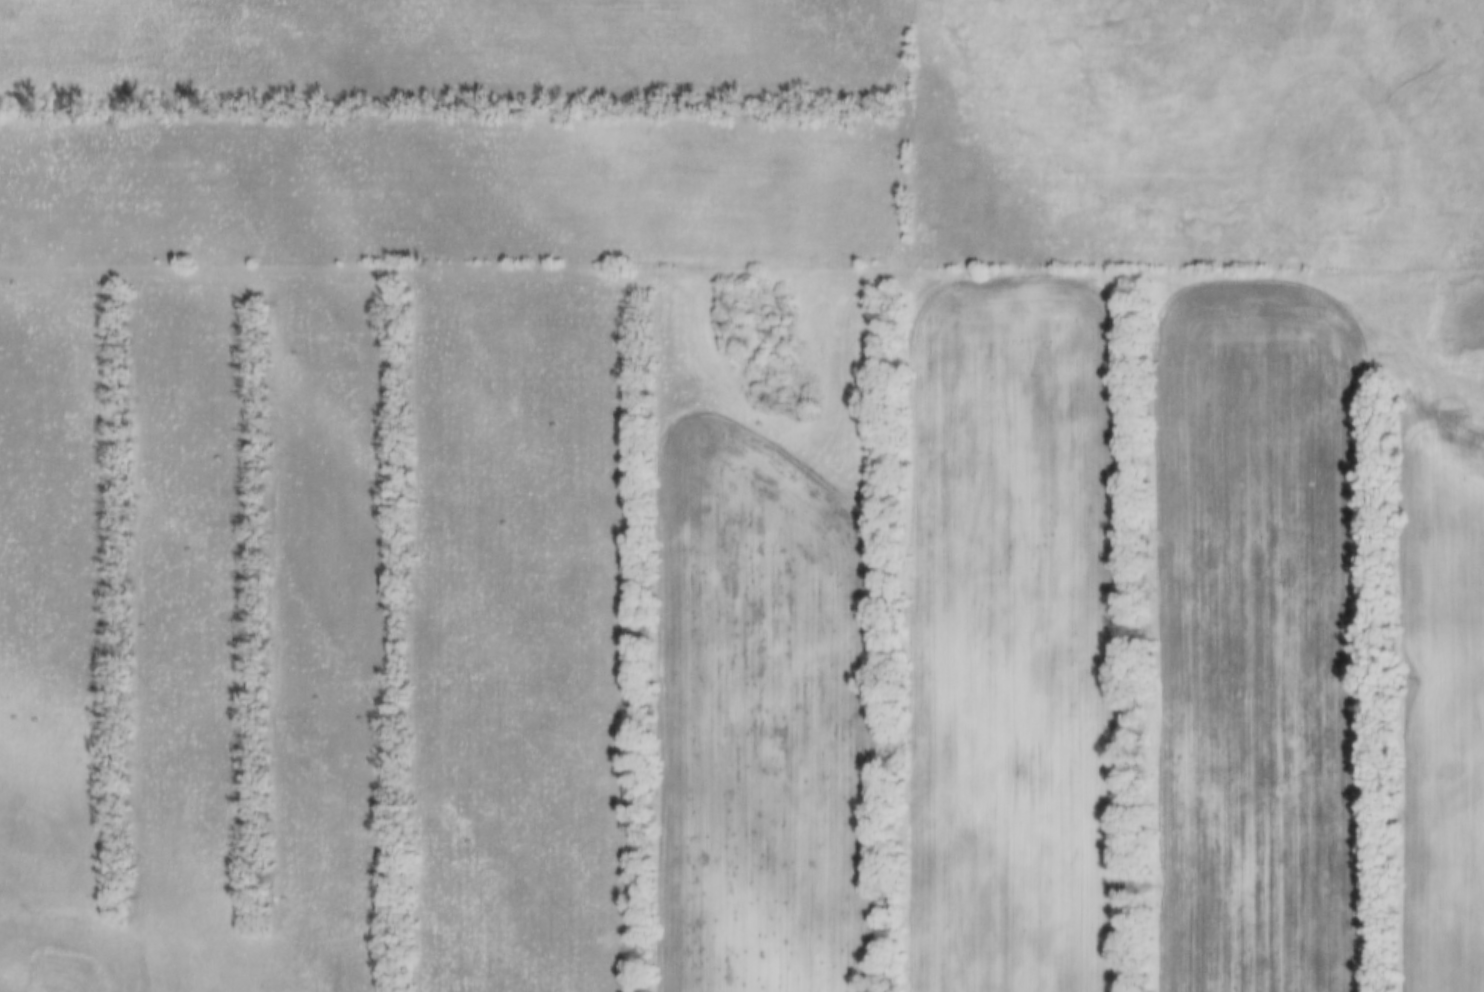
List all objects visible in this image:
road: (741, 274)

